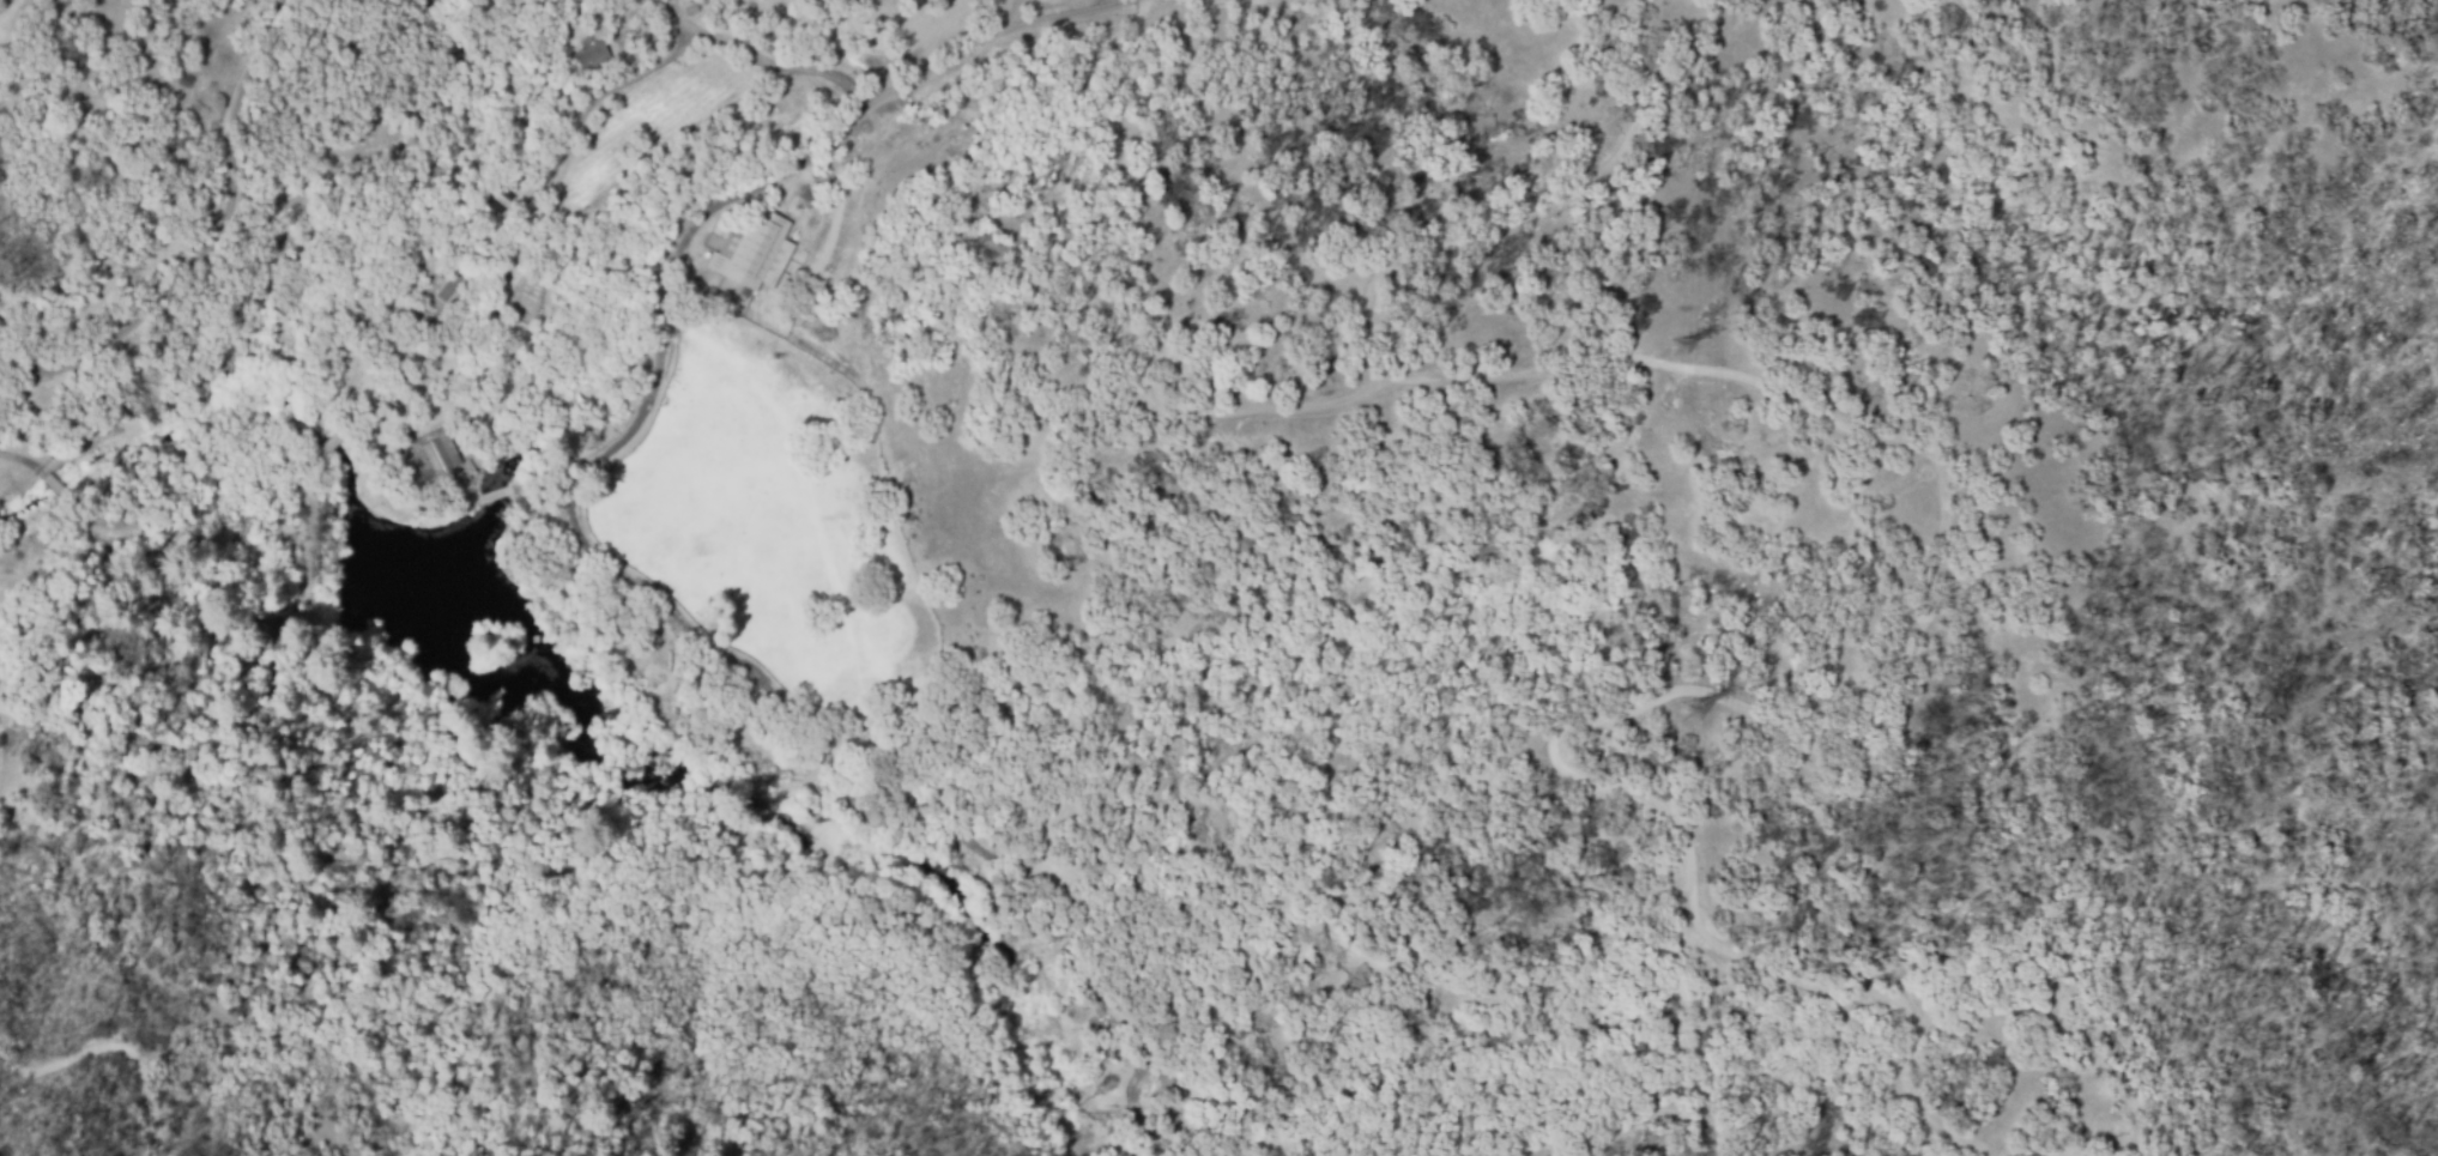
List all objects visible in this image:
building: (593, 58)
road: (767, 63)
road: (212, 240)
building: (755, 250)
power tower: (1681, 349)
building: (328, 444)
building: (430, 455)
power tower: (1687, 714)

